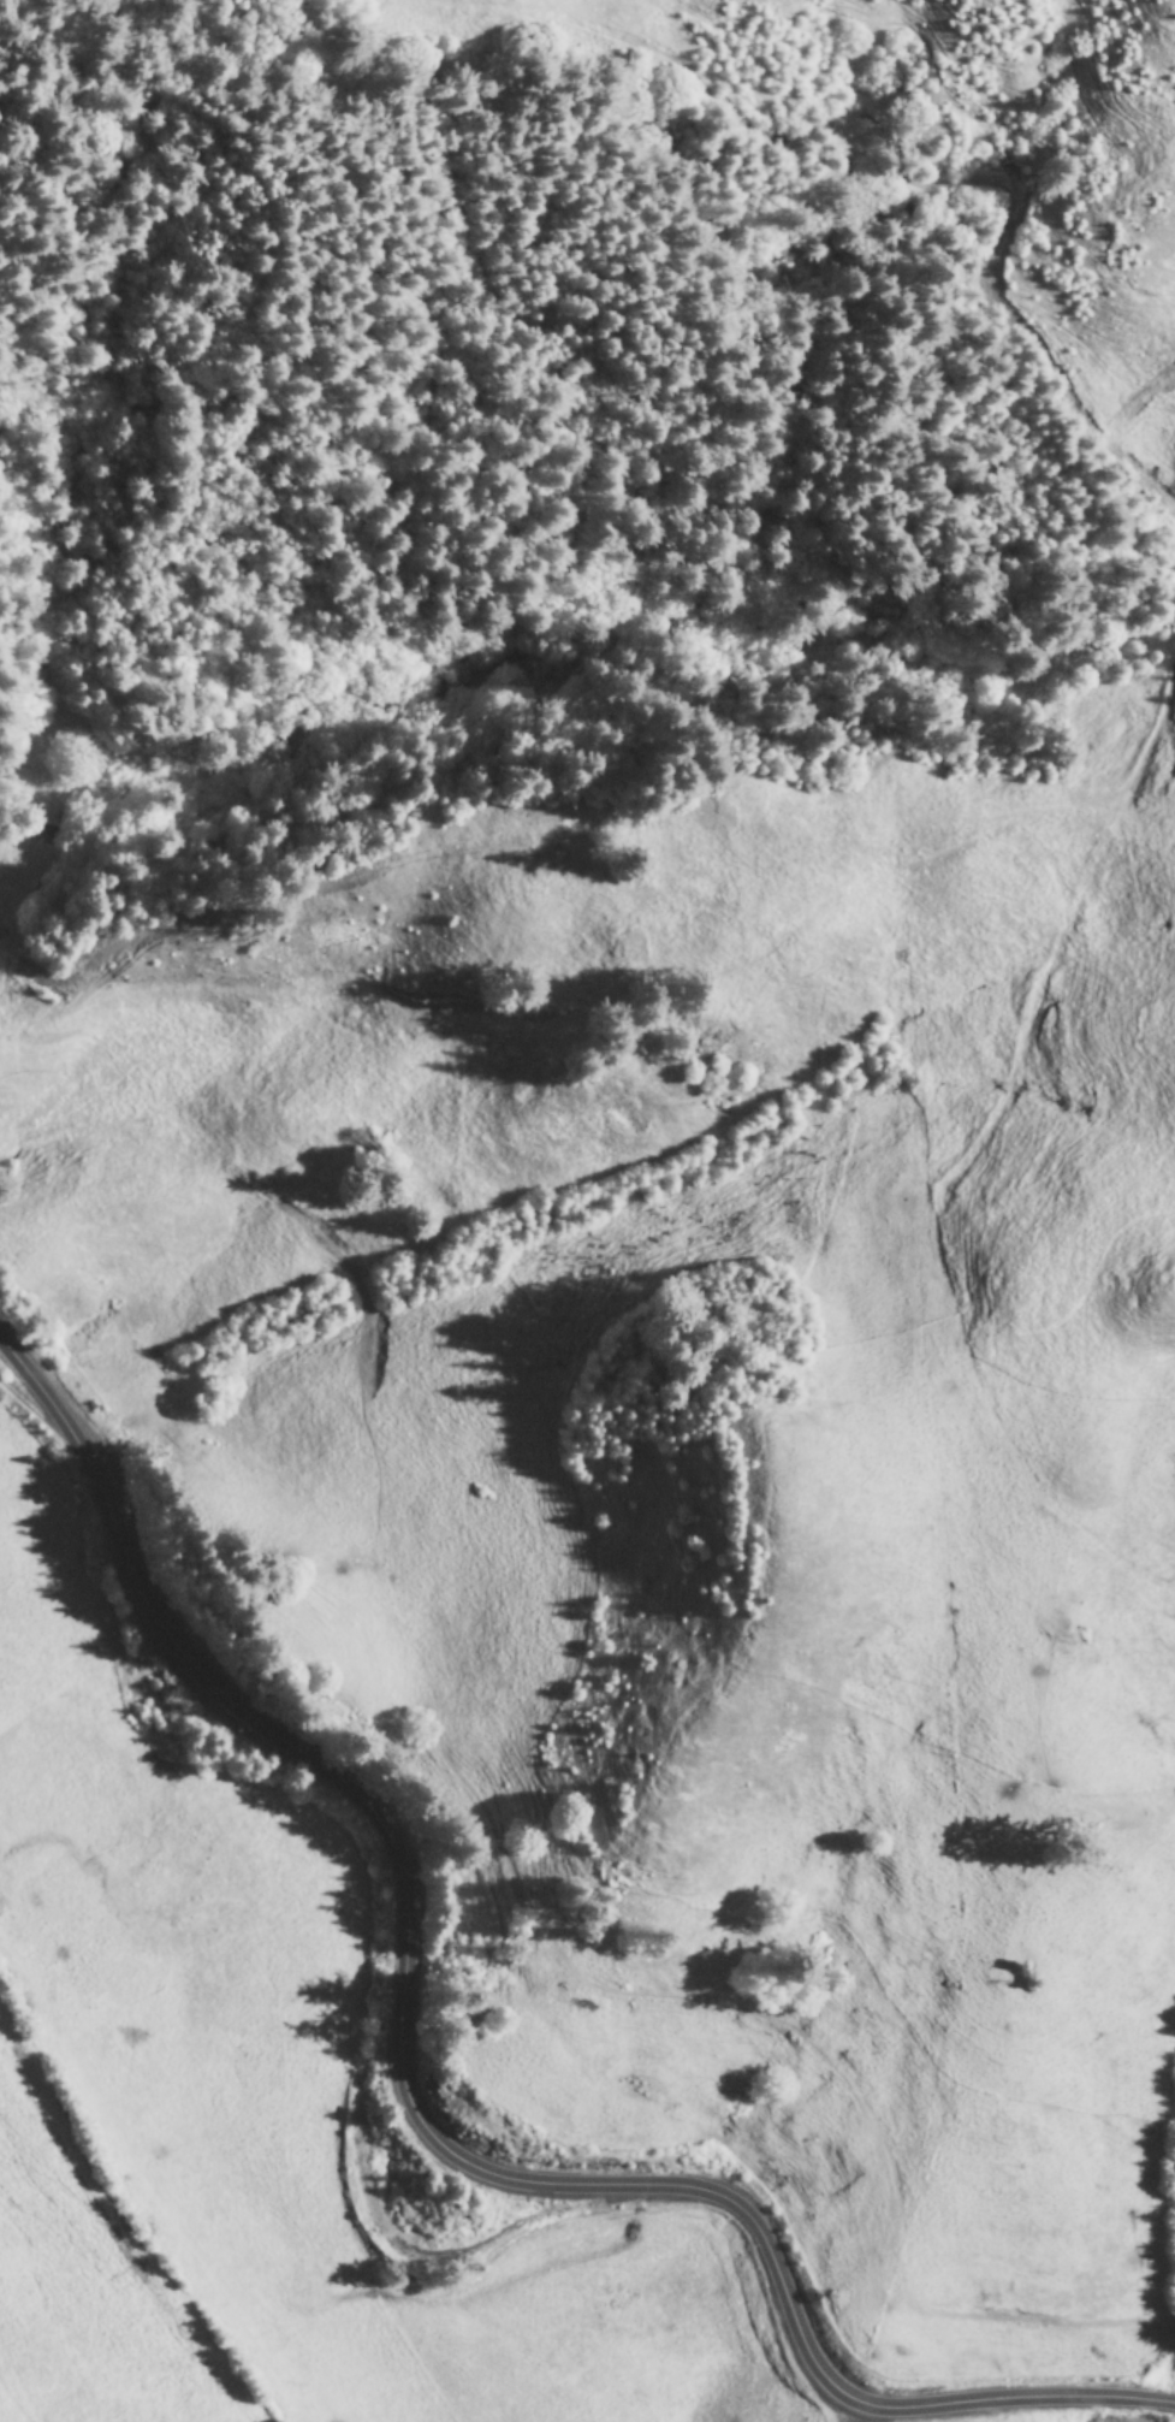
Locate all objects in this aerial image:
road: (409, 2110)

